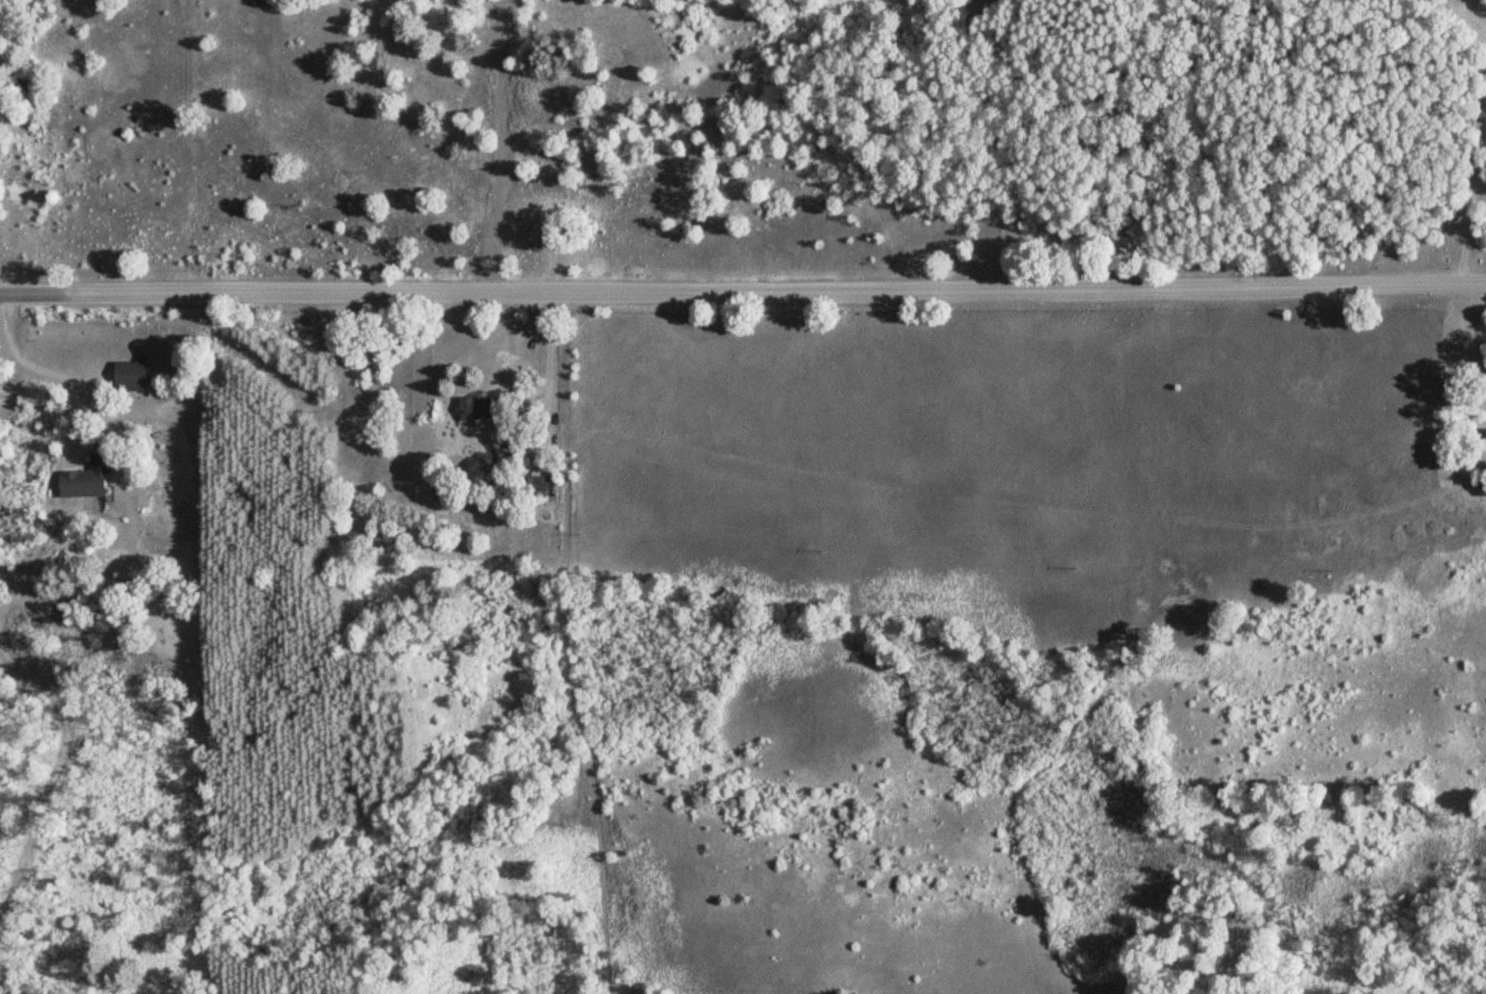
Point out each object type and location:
park: (1, 133)
road: (6, 291)
road: (749, 296)
building: (135, 375)
building: (479, 407)
building: (91, 479)
building: (551, 484)

